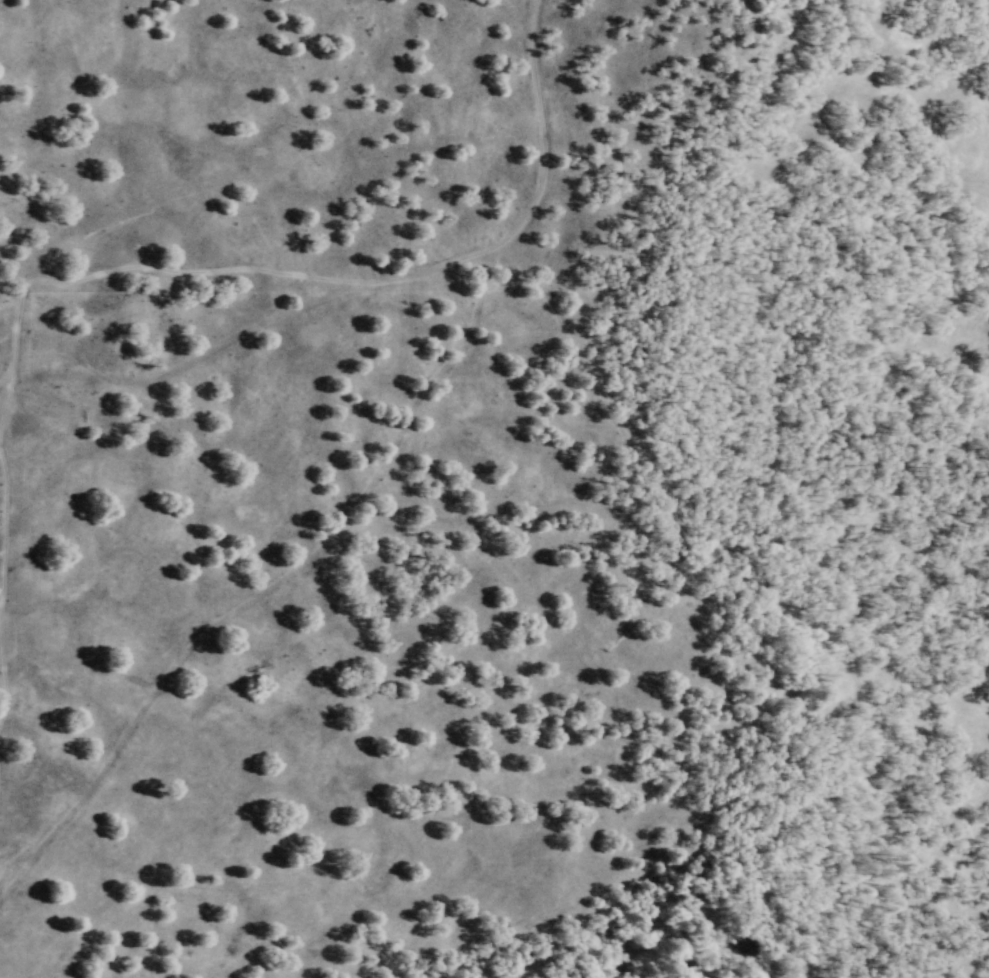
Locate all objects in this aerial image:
road: (535, 194)
road: (195, 354)
road: (5, 377)
road: (6, 400)
road: (5, 530)
road: (2, 680)

